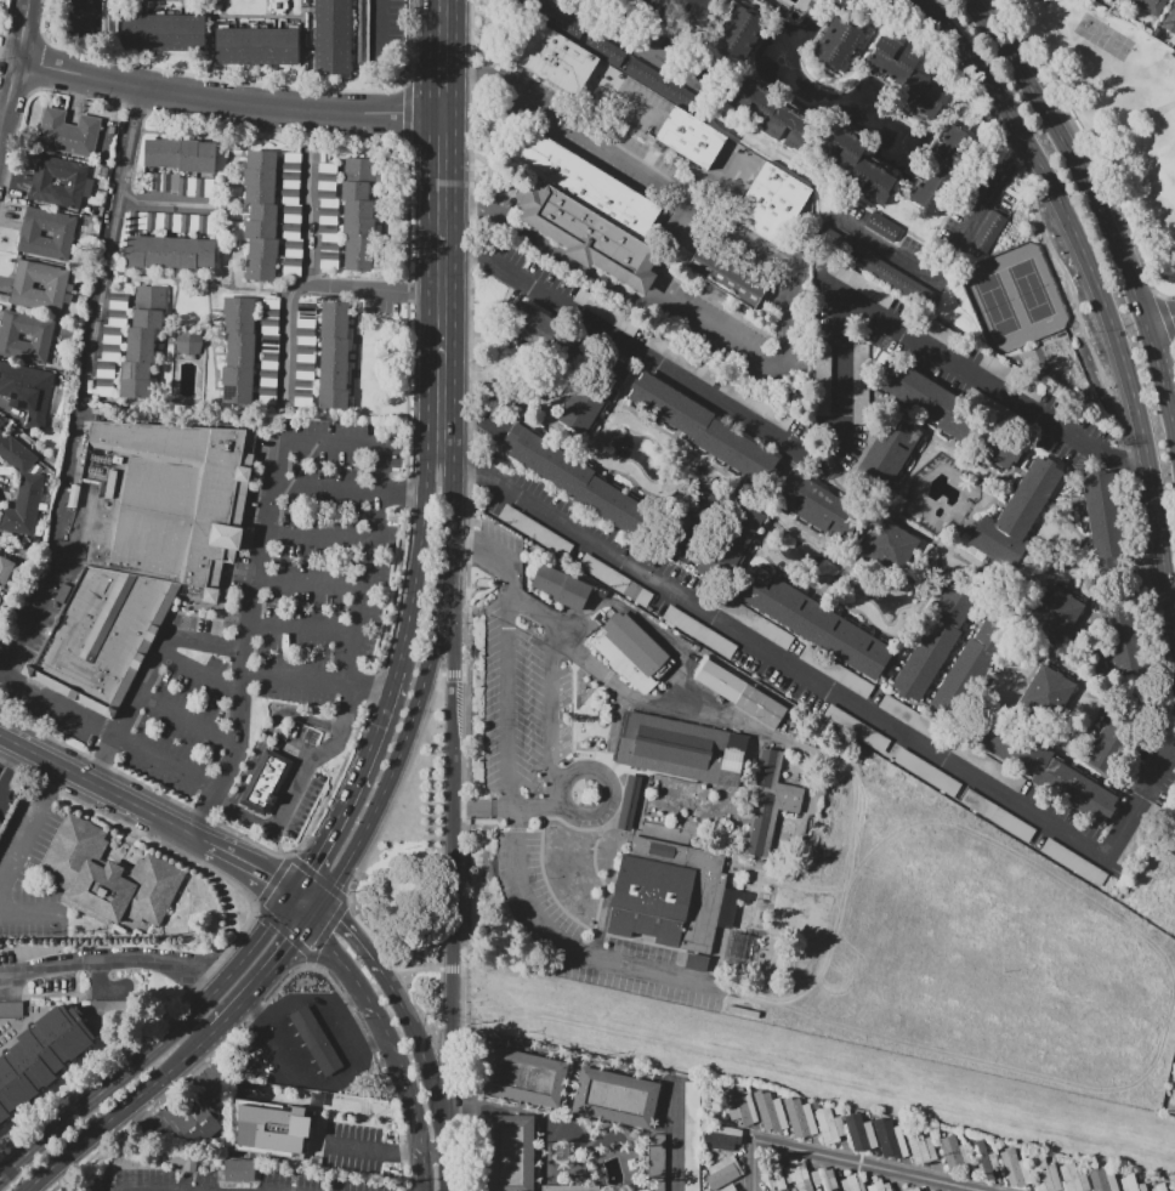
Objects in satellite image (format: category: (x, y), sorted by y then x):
building: (1106, 0)
building: (663, 6)
building: (1150, 6)
building: (1174, 8)
road: (91, 11)
road: (7, 16)
building: (109, 17)
building: (552, 17)
building: (1174, 19)
road: (379, 30)
building: (738, 30)
road: (1, 32)
building: (164, 32)
building: (361, 34)
building: (333, 36)
park: (1105, 38)
road: (1, 40)
building: (834, 40)
road: (1066, 40)
road: (636, 42)
building: (256, 46)
building: (604, 50)
building: (882, 53)
building: (554, 58)
road: (35, 64)
road: (16, 68)
road: (244, 81)
building: (918, 85)
building: (664, 86)
road: (602, 92)
building: (753, 101)
road: (227, 102)
road: (405, 108)
park: (1114, 108)
road: (1162, 110)
building: (53, 129)
road: (1133, 132)
building: (84, 136)
road: (574, 137)
building: (691, 137)
building: (840, 146)
building: (171, 152)
building: (153, 153)
building: (189, 155)
building: (206, 157)
building: (61, 170)
building: (361, 170)
building: (944, 170)
building: (870, 180)
building: (178, 183)
building: (585, 183)
road: (728, 188)
building: (56, 193)
road: (1140, 198)
road: (1095, 199)
road: (169, 202)
building: (772, 204)
building: (261, 216)
road: (310, 216)
building: (49, 221)
building: (171, 222)
parking lot: (857, 225)
building: (357, 226)
road: (441, 226)
building: (884, 228)
building: (988, 232)
building: (590, 236)
road: (110, 244)
building: (44, 245)
building: (170, 251)
road: (948, 257)
building: (41, 274)
building: (887, 274)
building: (727, 276)
building: (859, 283)
road: (306, 285)
road: (1101, 288)
park: (1031, 290)
building: (36, 297)
building: (119, 300)
park: (997, 305)
building: (606, 312)
road: (686, 312)
building: (117, 317)
road: (1162, 318)
building: (27, 325)
building: (937, 329)
building: (546, 334)
building: (110, 335)
building: (189, 340)
building: (142, 341)
building: (23, 348)
building: (239, 350)
building: (110, 351)
building: (334, 356)
building: (681, 358)
building: (104, 368)
building: (823, 373)
building: (1012, 376)
building: (859, 381)
building: (104, 386)
building: (27, 390)
building: (591, 391)
building: (756, 404)
road: (8, 410)
building: (948, 413)
road: (407, 416)
building: (1, 421)
building: (694, 422)
road: (841, 429)
building: (889, 447)
building: (575, 480)
building: (21, 487)
building: (74, 495)
building: (168, 501)
building: (817, 506)
road: (470, 512)
building: (1101, 512)
building: (1017, 515)
building: (694, 521)
building: (535, 531)
road: (56, 537)
road: (317, 538)
building: (730, 540)
building: (890, 545)
road: (418, 560)
building: (5, 571)
building: (615, 579)
road: (310, 580)
road: (364, 580)
building: (561, 586)
road: (252, 590)
parking lot: (262, 609)
building: (1055, 614)
building: (814, 622)
building: (756, 623)
road: (299, 629)
building: (699, 631)
building: (1122, 634)
building: (104, 637)
building: (933, 642)
building: (632, 652)
road: (680, 653)
building: (969, 668)
building: (836, 671)
road: (199, 674)
road: (452, 674)
road: (551, 675)
road: (147, 676)
road: (314, 679)
road: (421, 684)
road: (615, 686)
road: (825, 686)
building: (1048, 692)
building: (740, 693)
road: (187, 718)
building: (910, 718)
road: (108, 731)
road: (268, 731)
building: (859, 731)
building: (1112, 741)
building: (1010, 745)
building: (683, 749)
road: (8, 760)
building: (927, 772)
road: (78, 775)
parking lot: (303, 779)
road: (604, 779)
building: (267, 782)
road: (352, 784)
building: (1080, 793)
building: (629, 802)
building: (770, 804)
road: (507, 807)
road: (240, 816)
road: (515, 816)
building: (997, 816)
road: (378, 827)
road: (30, 829)
road: (182, 829)
road: (452, 851)
building: (1073, 862)
road: (250, 864)
traffic signals: (310, 866)
parking lot: (28, 873)
traffic signals: (273, 877)
building: (108, 878)
road: (307, 895)
building: (668, 895)
road: (316, 909)
road: (32, 913)
traffic signals: (342, 919)
road: (348, 929)
road: (238, 934)
traffic signals: (290, 942)
road: (1167, 954)
road: (110, 960)
road: (891, 962)
building: (697, 963)
parking lot: (91, 964)
road: (411, 969)
road: (452, 969)
road: (263, 976)
road: (259, 1003)
building: (109, 1008)
parking lot: (109, 1008)
building: (11, 1009)
road: (382, 1030)
building: (317, 1040)
road: (155, 1044)
road: (289, 1044)
building: (41, 1055)
road: (426, 1071)
road: (203, 1072)
building: (523, 1077)
building: (615, 1098)
building: (739, 1105)
road: (119, 1110)
building: (770, 1112)
road: (153, 1118)
building: (193, 1118)
building: (799, 1118)
building: (829, 1124)
building: (272, 1125)
building: (859, 1133)
building: (691, 1136)
parking lot: (691, 1136)
building: (723, 1138)
building: (890, 1138)
road: (674, 1139)
building: (921, 1146)
parking lot: (352, 1147)
road: (362, 1149)
road: (420, 1151)
building: (510, 1153)
building: (954, 1153)
building: (983, 1158)
building: (182, 1161)
road: (844, 1162)
building: (1015, 1168)
building: (239, 1170)
building: (722, 1173)
building: (1044, 1173)
road: (63, 1174)
building: (776, 1174)
building: (797, 1175)
parking lot: (297, 1176)
building: (1073, 1178)
building: (824, 1179)
building: (1102, 1180)
building: (852, 1183)
building: (1131, 1184)
building: (879, 1186)
building: (571, 1187)
building: (728, 1187)
building: (1159, 1187)
building: (914, 1190)
building: (1170, 1190)
building: (1173, 1190)

